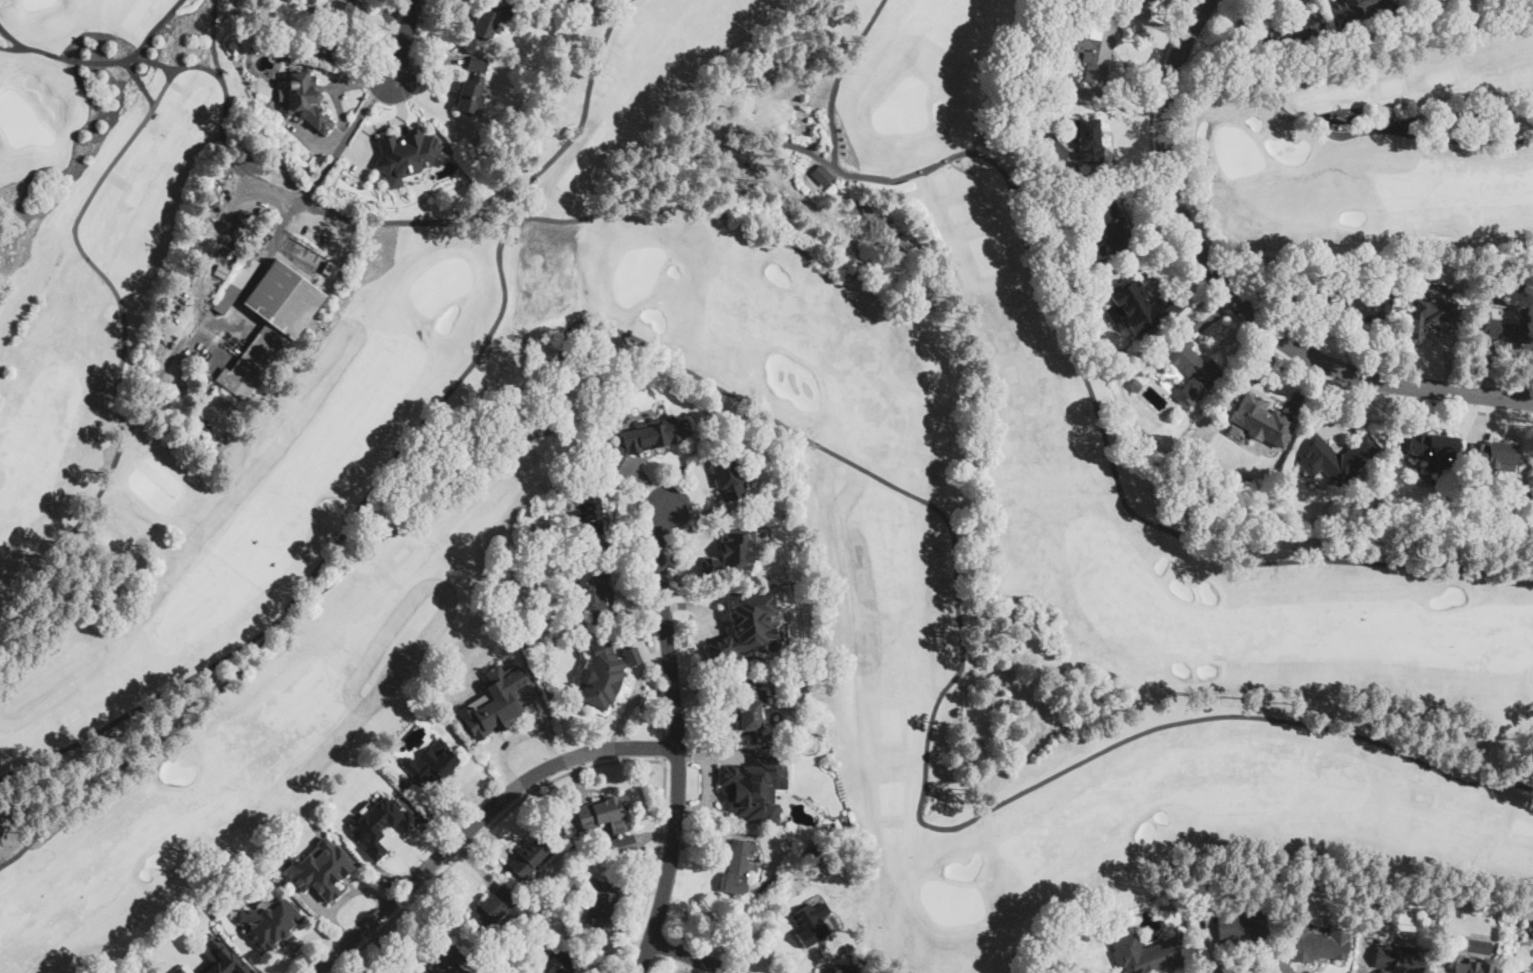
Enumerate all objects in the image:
building: (1143, 1)
building: (1357, 10)
building: (491, 17)
building: (336, 25)
road: (394, 27)
building: (1290, 32)
road: (403, 39)
building: (313, 47)
building: (1097, 49)
building: (472, 87)
building: (313, 102)
building: (1088, 139)
building: (406, 155)
park: (1377, 157)
building: (1073, 164)
building: (821, 175)
building: (1109, 228)
building: (330, 270)
building: (188, 271)
building: (236, 285)
road: (246, 289)
road: (1234, 297)
building: (1364, 305)
building: (1140, 306)
road: (1223, 308)
building: (1428, 312)
building: (271, 326)
building: (1509, 327)
building: (1192, 368)
building: (1135, 386)
building: (1262, 420)
building: (647, 439)
building: (1435, 448)
building: (1494, 455)
building: (1334, 457)
road: (108, 475)
park: (259, 477)
building: (730, 479)
building: (589, 510)
building: (559, 538)
building: (731, 554)
building: (592, 562)
building: (594, 594)
building: (749, 621)
building: (573, 625)
road: (653, 634)
building: (602, 672)
building: (495, 701)
building: (750, 706)
road: (677, 741)
road: (665, 745)
building: (431, 764)
building: (761, 782)
building: (602, 815)
road: (477, 821)
building: (378, 822)
road: (483, 833)
building: (621, 845)
building: (583, 853)
building: (529, 858)
road: (656, 866)
building: (737, 866)
building: (320, 868)
building: (538, 900)
building: (602, 905)
building: (496, 909)
building: (1166, 910)
building: (268, 922)
building: (809, 926)
building: (1245, 926)
building: (1100, 934)
building: (1319, 944)
building: (1151, 954)
road: (691, 956)
building: (223, 957)
building: (1398, 960)
building: (445, 962)
building: (562, 963)
building: (500, 966)
building: (1473, 967)
building: (844, 969)
building: (182, 970)
building: (1525, 972)

